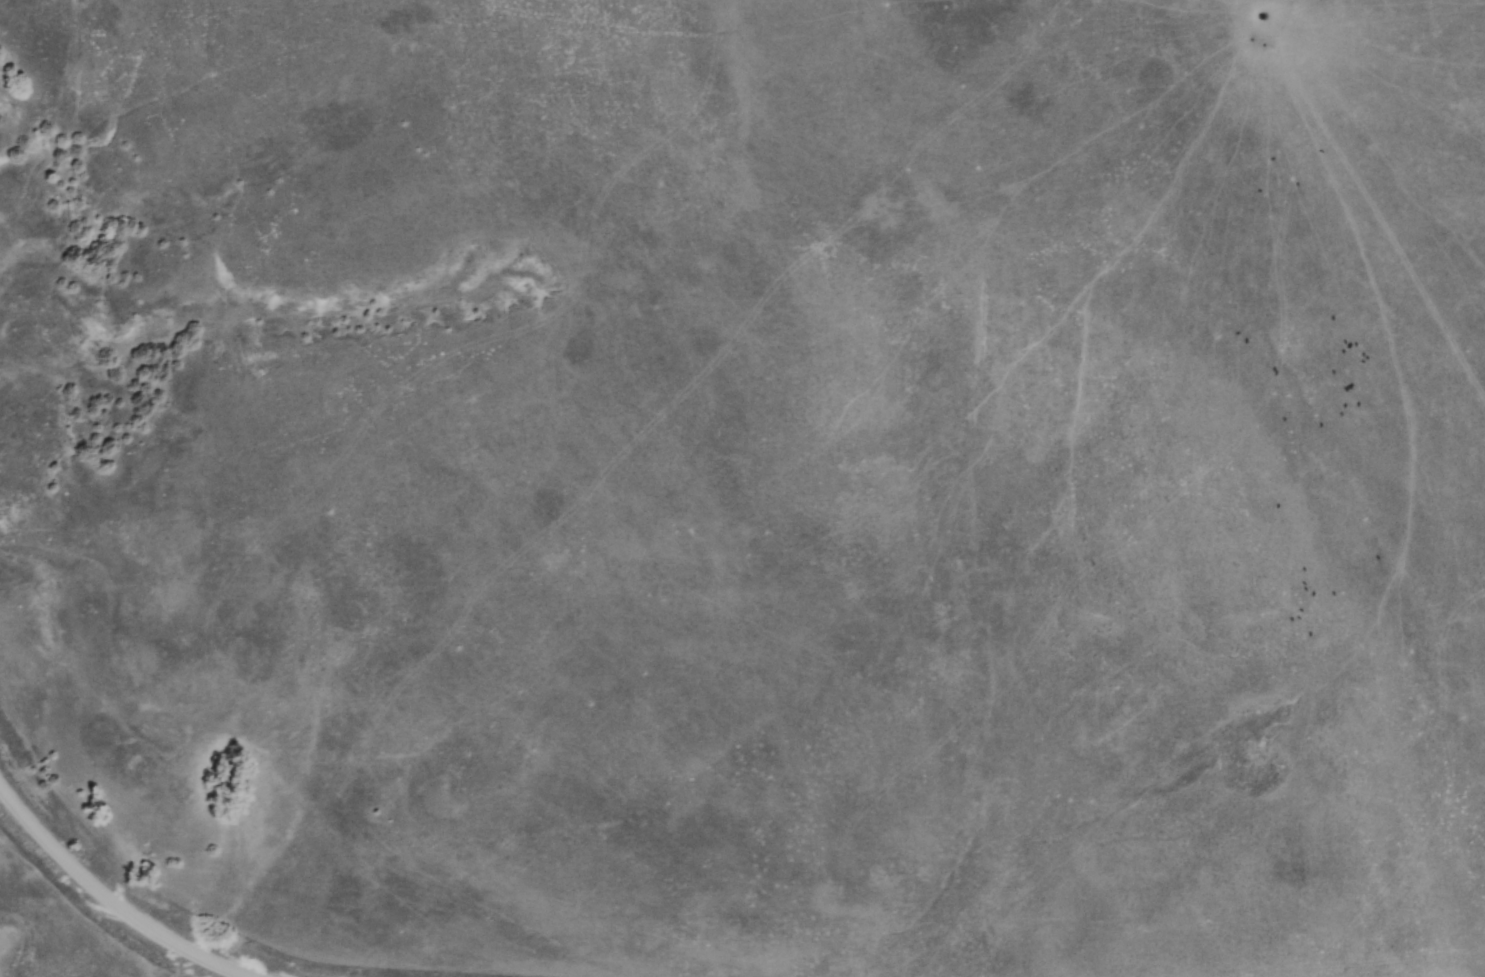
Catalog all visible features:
road: (103, 898)

